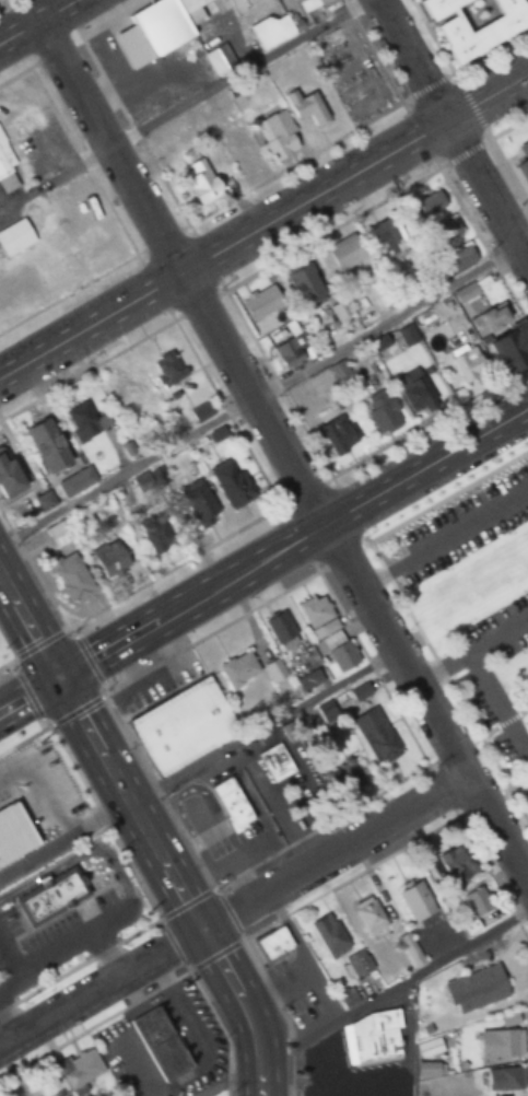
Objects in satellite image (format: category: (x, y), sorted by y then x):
building: (239, 3)
building: (306, 4)
building: (442, 7)
road: (37, 21)
building: (159, 28)
building: (484, 30)
road: (486, 51)
road: (17, 70)
road: (237, 73)
road: (523, 82)
building: (306, 105)
road: (505, 126)
road: (453, 132)
building: (278, 135)
building: (525, 147)
road: (464, 150)
building: (242, 158)
road: (84, 164)
building: (5, 168)
building: (524, 172)
road: (505, 176)
building: (202, 182)
building: (431, 202)
road: (263, 220)
building: (447, 230)
building: (19, 233)
building: (382, 234)
building: (345, 253)
building: (460, 258)
building: (306, 287)
road: (71, 288)
building: (16, 290)
building: (261, 303)
building: (339, 311)
building: (491, 319)
building: (408, 335)
building: (290, 351)
building: (511, 351)
building: (469, 364)
building: (166, 370)
road: (256, 390)
building: (415, 393)
building: (200, 411)
building: (383, 413)
building: (85, 422)
building: (338, 434)
building: (49, 446)
road: (284, 455)
building: (10, 476)
building: (75, 482)
building: (232, 483)
building: (524, 485)
road: (444, 495)
building: (200, 506)
building: (494, 515)
building: (153, 537)
road: (291, 541)
building: (456, 541)
road: (342, 553)
building: (113, 560)
building: (419, 567)
road: (167, 568)
road: (36, 574)
building: (71, 575)
road: (5, 590)
building: (314, 608)
building: (280, 623)
road: (210, 628)
road: (32, 639)
road: (37, 641)
road: (7, 642)
road: (469, 649)
building: (341, 653)
road: (87, 656)
road: (433, 656)
road: (7, 657)
road: (367, 661)
road: (14, 662)
building: (237, 667)
building: (274, 668)
building: (308, 677)
traffic signals: (55, 678)
parking lot: (493, 678)
road: (27, 691)
building: (361, 691)
road: (26, 692)
road: (493, 700)
road: (74, 708)
road: (521, 708)
building: (328, 712)
road: (504, 718)
building: (181, 727)
road: (263, 732)
road: (481, 732)
building: (376, 733)
road: (25, 736)
road: (525, 746)
road: (446, 751)
building: (275, 760)
road: (23, 769)
building: (342, 779)
road: (153, 784)
road: (313, 784)
road: (441, 789)
road: (126, 803)
building: (232, 804)
road: (273, 806)
road: (215, 813)
road: (99, 815)
road: (318, 826)
building: (8, 840)
building: (454, 864)
road: (349, 876)
road: (492, 877)
building: (51, 894)
building: (477, 898)
building: (414, 899)
road: (186, 901)
road: (231, 910)
road: (225, 911)
building: (369, 912)
building: (328, 934)
road: (173, 941)
building: (272, 943)
road: (64, 944)
road: (212, 949)
building: (409, 949)
road: (106, 951)
road: (10, 953)
road: (80, 960)
building: (356, 964)
road: (265, 978)
road: (392, 983)
building: (476, 984)
road: (275, 987)
road: (245, 1006)
road: (94, 1018)
road: (8, 1024)
road: (221, 1026)
building: (374, 1035)
building: (160, 1041)
building: (502, 1041)
road: (288, 1060)
building: (81, 1071)
building: (504, 1075)
road: (227, 1078)
road: (326, 1089)

